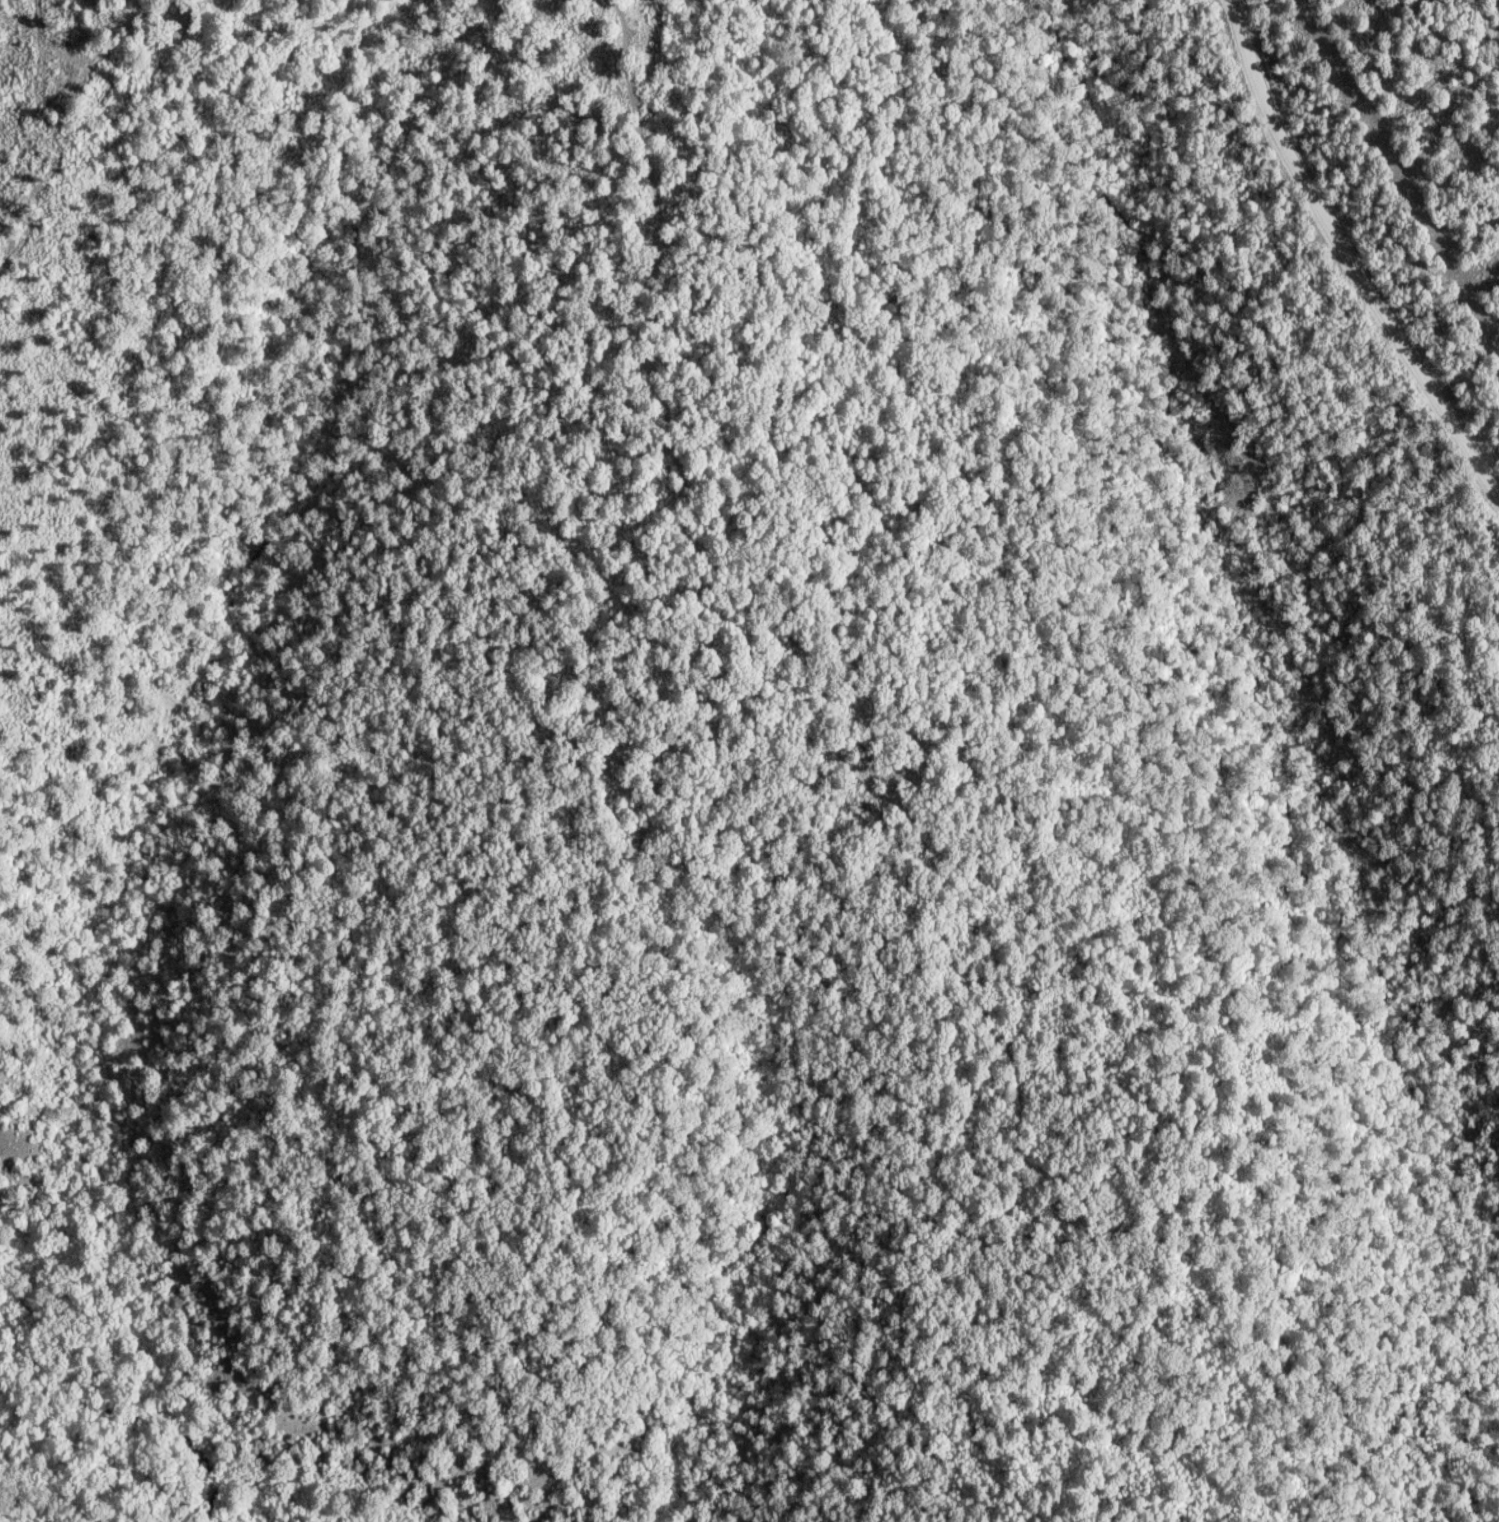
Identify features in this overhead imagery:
road: (1491, 31)
road: (1350, 255)

